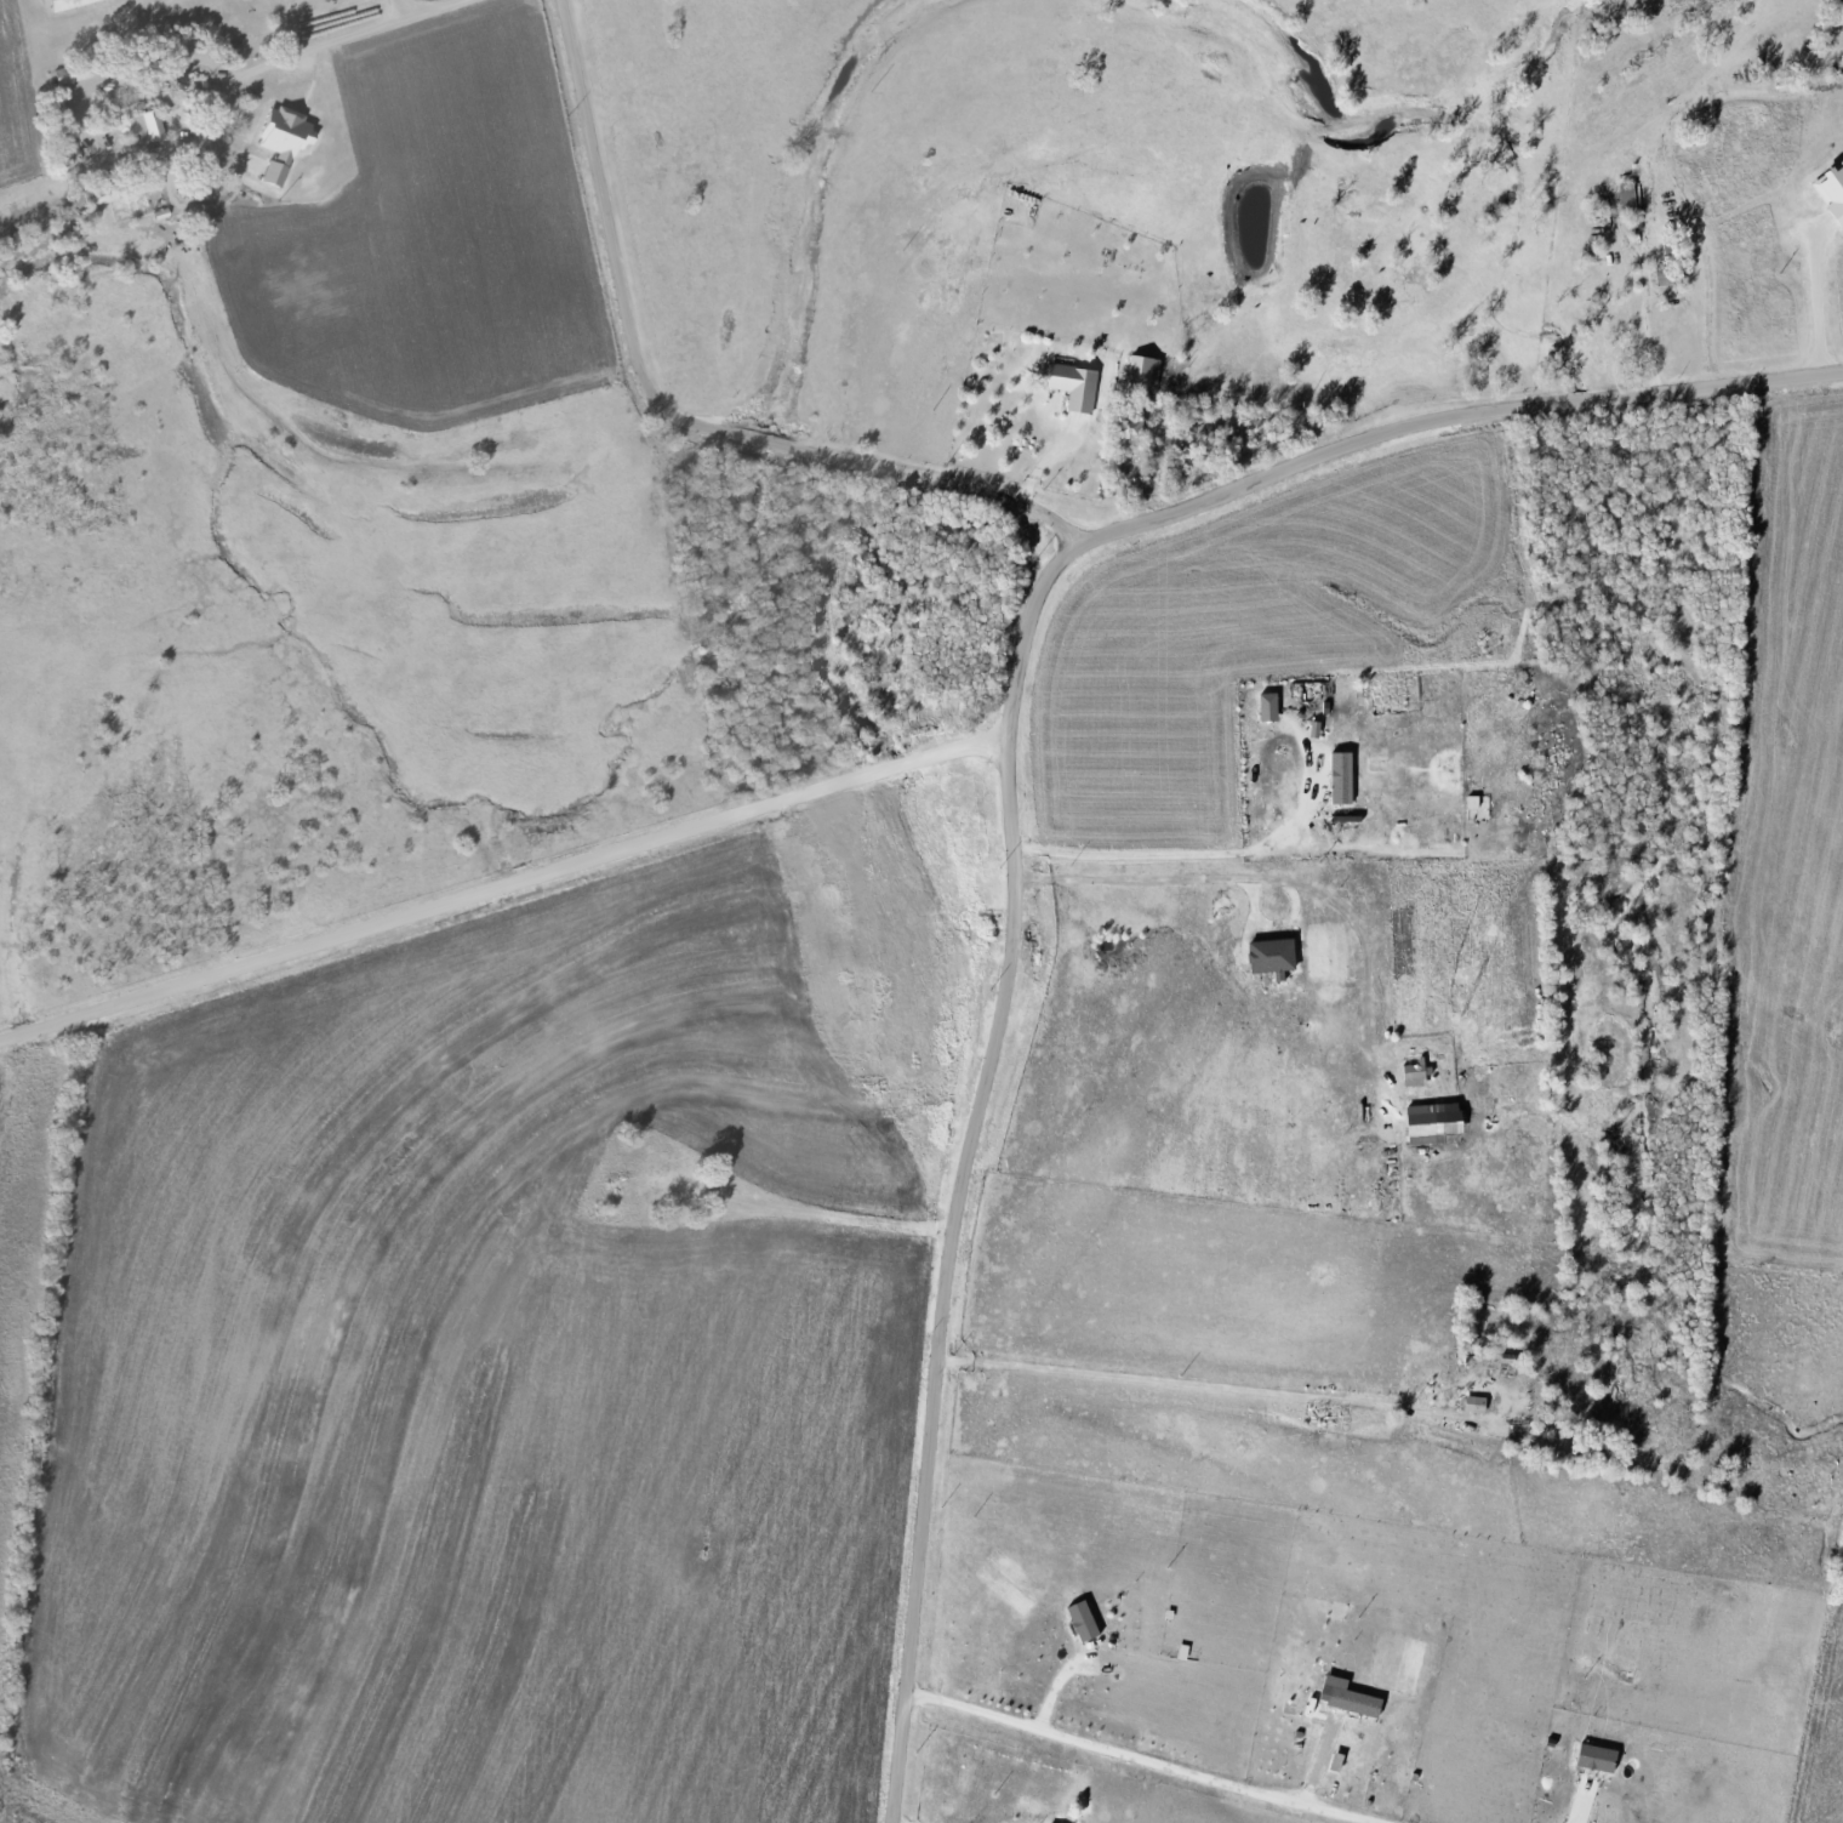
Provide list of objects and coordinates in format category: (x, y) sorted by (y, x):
building: (59, 1)
road: (310, 47)
building: (61, 76)
building: (147, 127)
building: (281, 143)
building: (137, 186)
building: (1628, 195)
road: (1815, 296)
building: (1143, 370)
building: (1075, 386)
road: (673, 416)
building: (1269, 707)
building: (1342, 777)
road: (1014, 787)
road: (1183, 853)
road: (1282, 881)
road: (506, 885)
building: (1273, 956)
road: (1189, 1383)
building: (1474, 1405)
building: (1084, 1620)
building: (1357, 1702)
building: (1598, 1758)
building: (1337, 1761)
road: (1114, 1766)
road: (1580, 1815)

